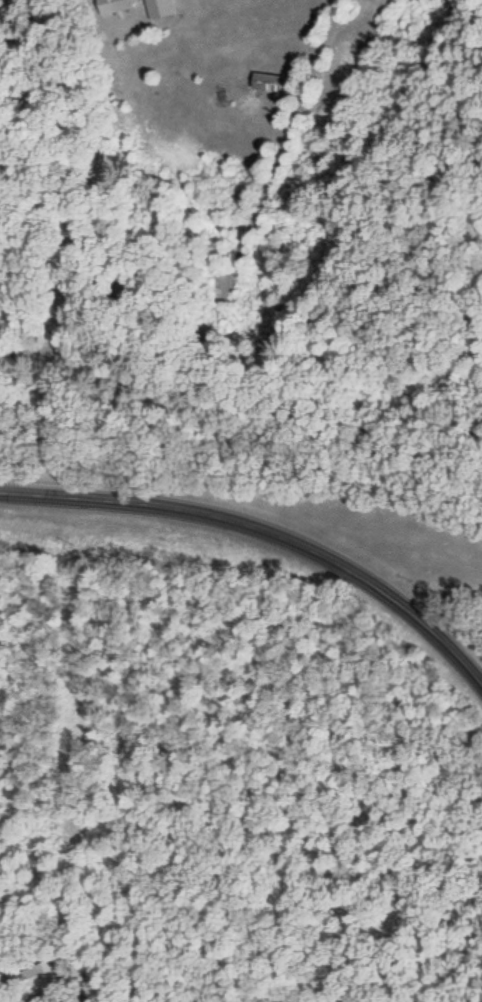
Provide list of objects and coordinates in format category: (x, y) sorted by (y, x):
building: (109, 3)
building: (155, 6)
building: (265, 82)
road: (230, 262)
road: (265, 531)
building: (45, 976)

